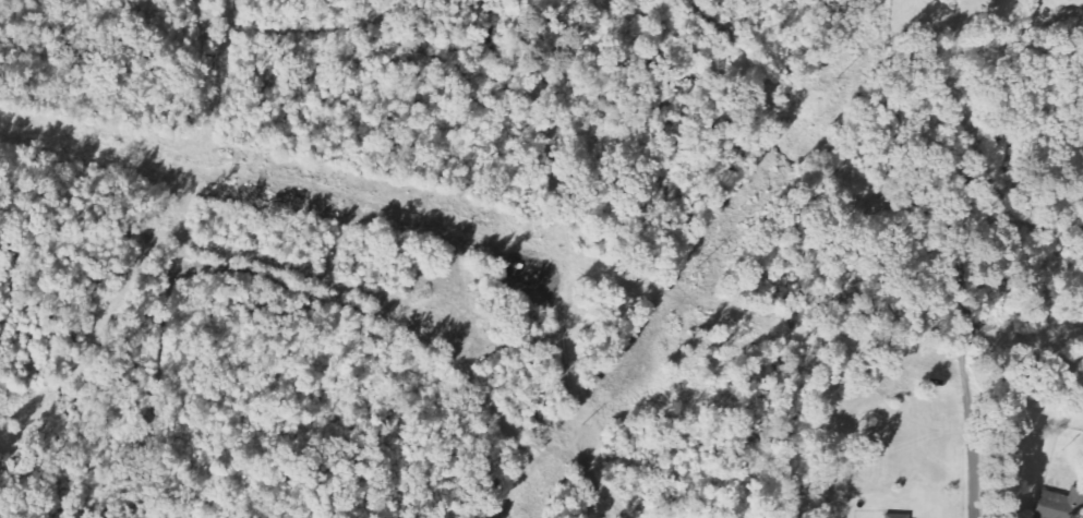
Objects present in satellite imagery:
road: (328, 189)
road: (1032, 321)
road: (980, 420)
building: (894, 516)

